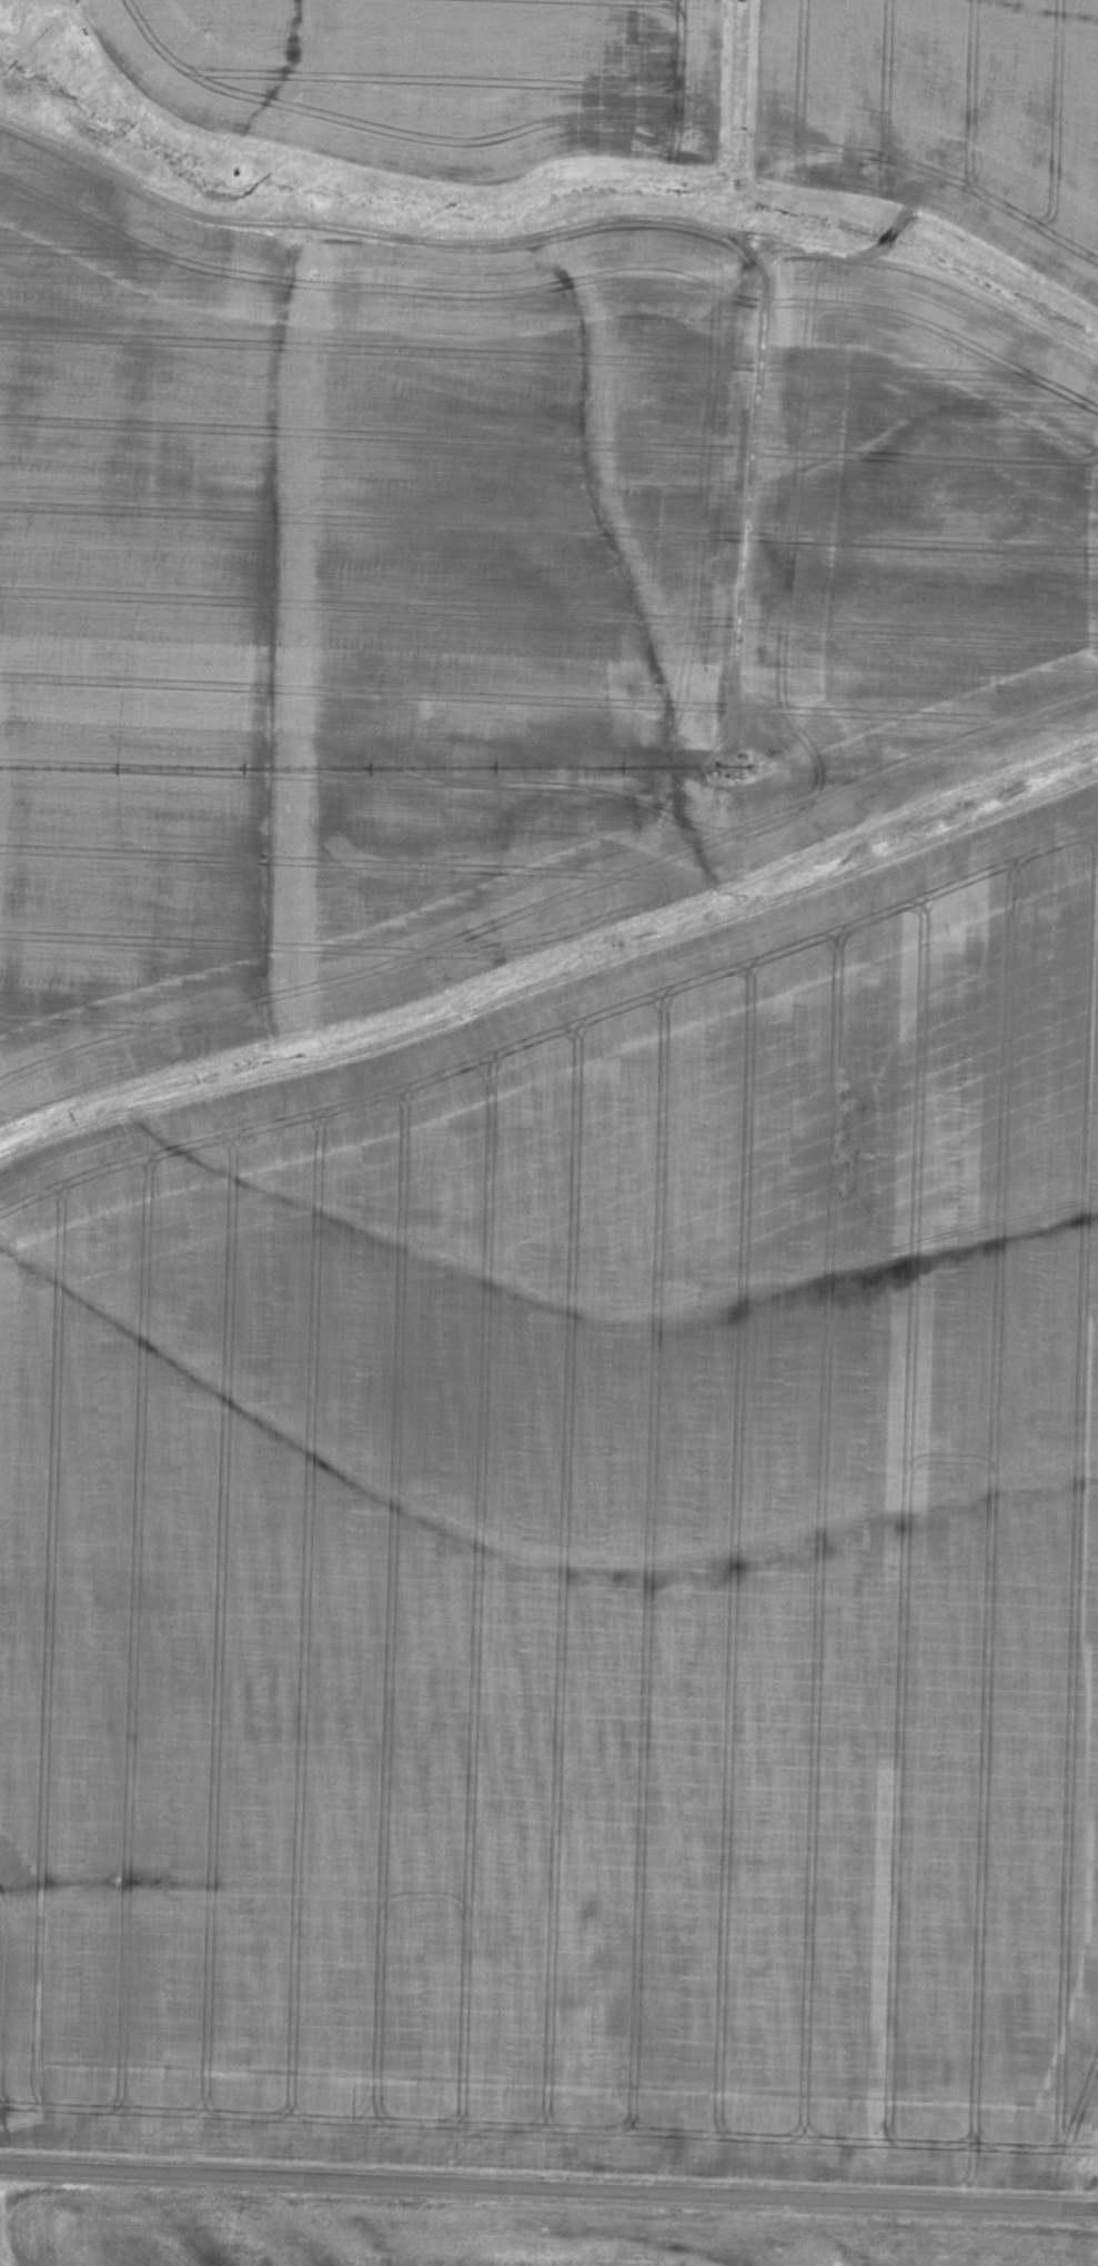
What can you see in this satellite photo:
road: (617, 219)
road: (548, 2184)

